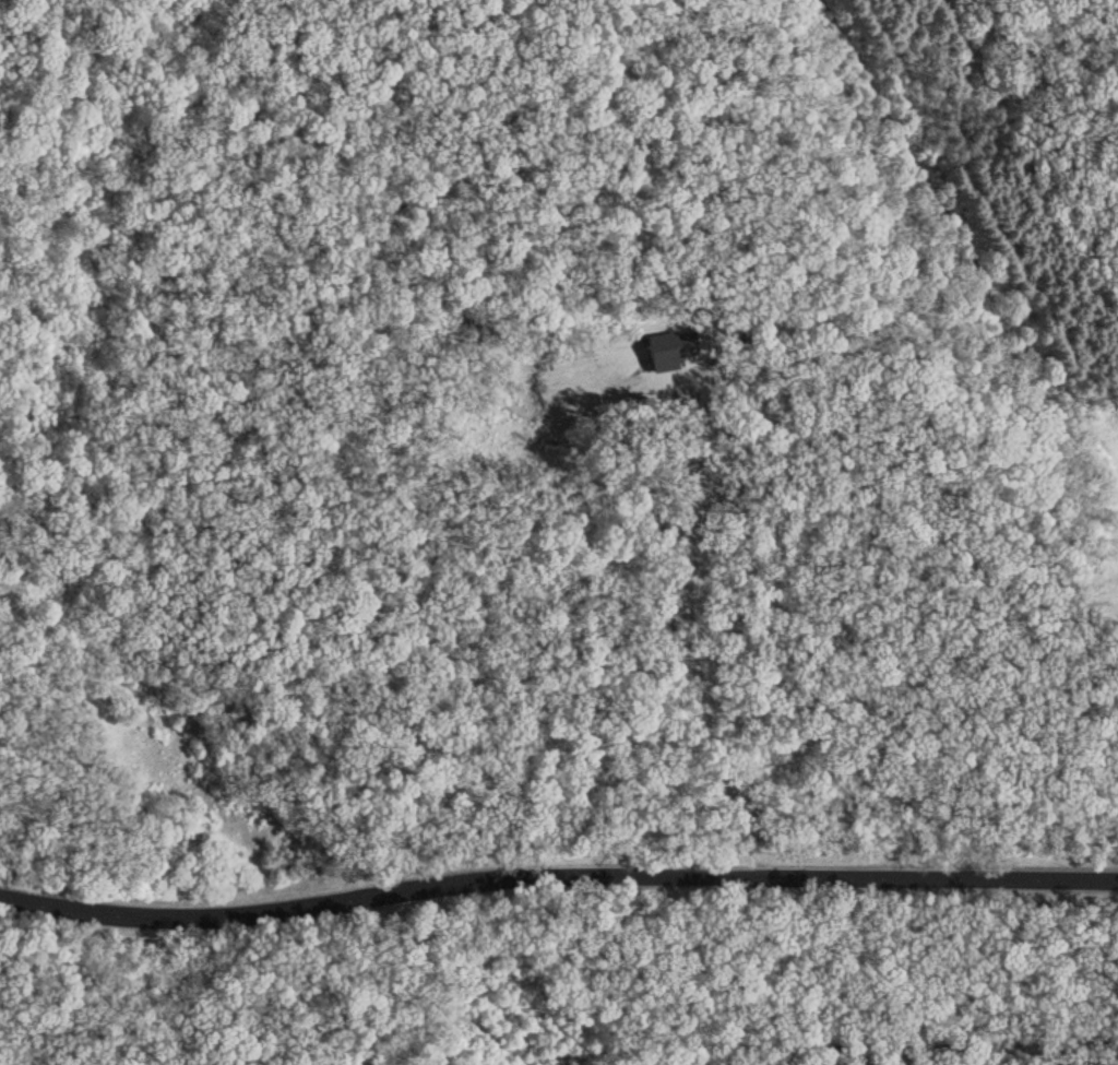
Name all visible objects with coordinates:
park: (1102, 601)
road: (690, 630)
road: (557, 875)

